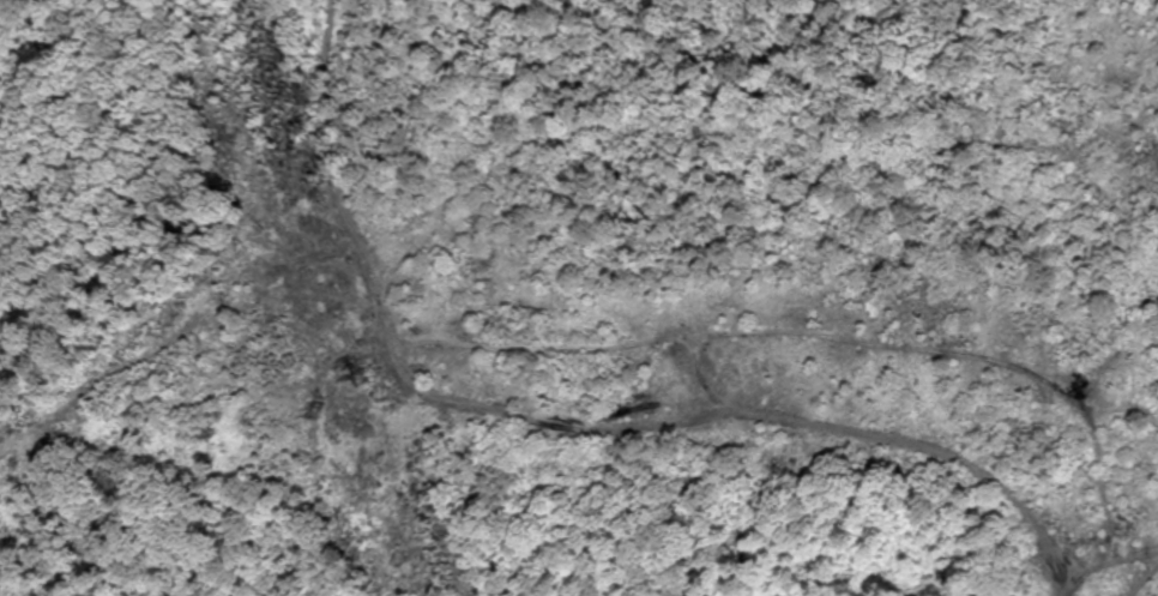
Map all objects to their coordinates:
power tower: (368, 377)

